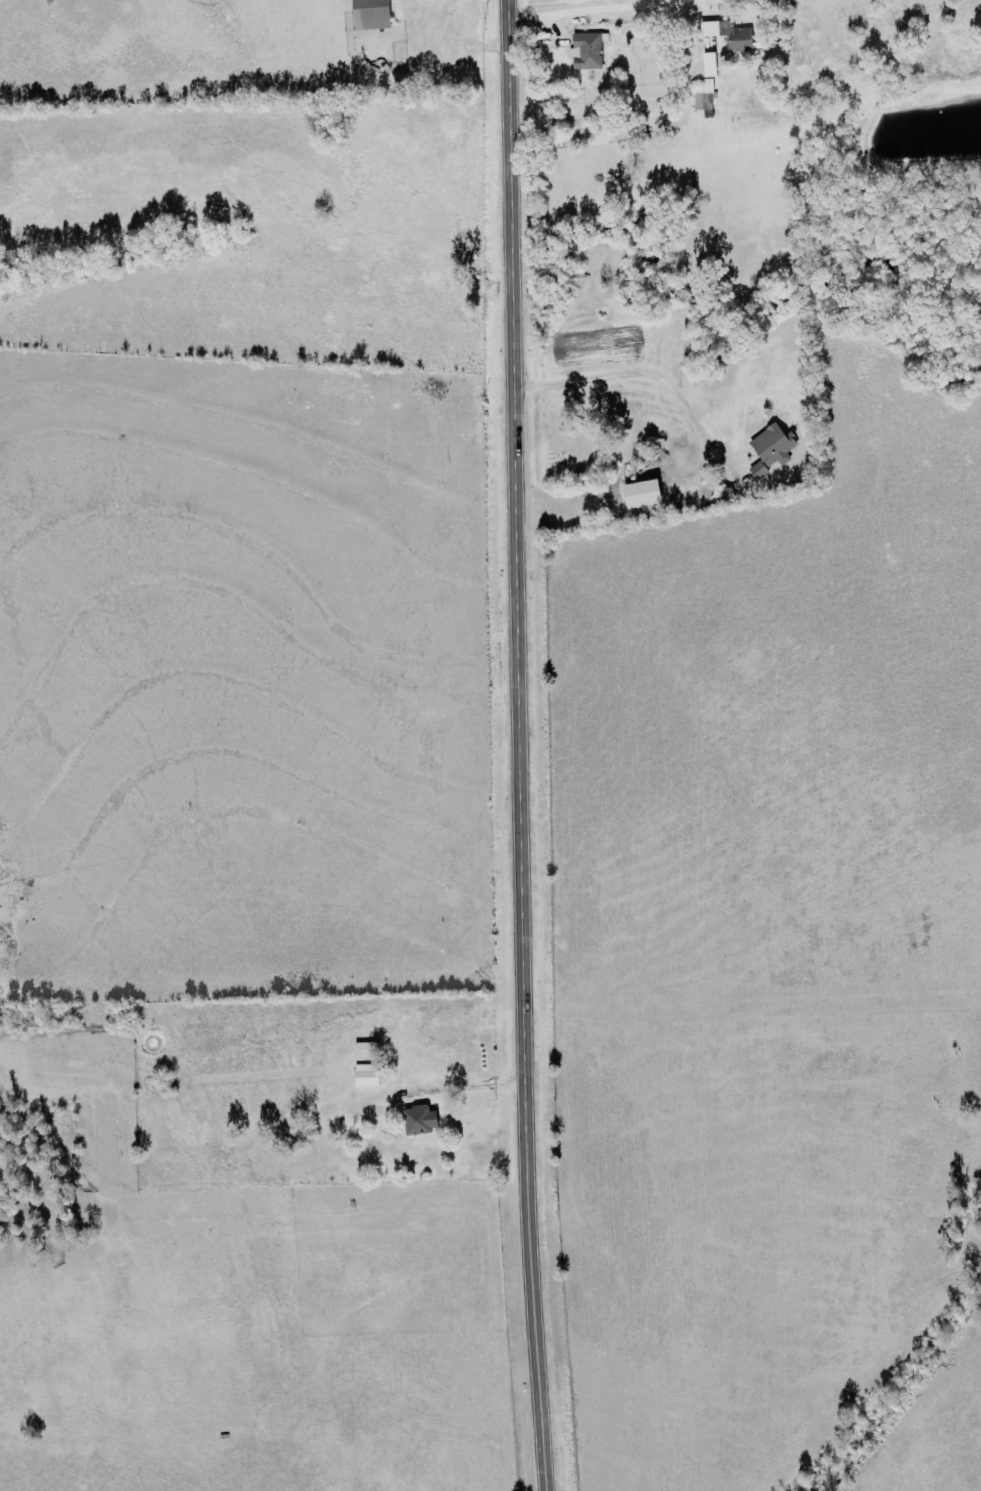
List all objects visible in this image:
road: (592, 9)
building: (371, 14)
building: (587, 51)
building: (718, 54)
building: (774, 446)
building: (759, 470)
road: (517, 745)
building: (366, 1074)
building: (420, 1119)

